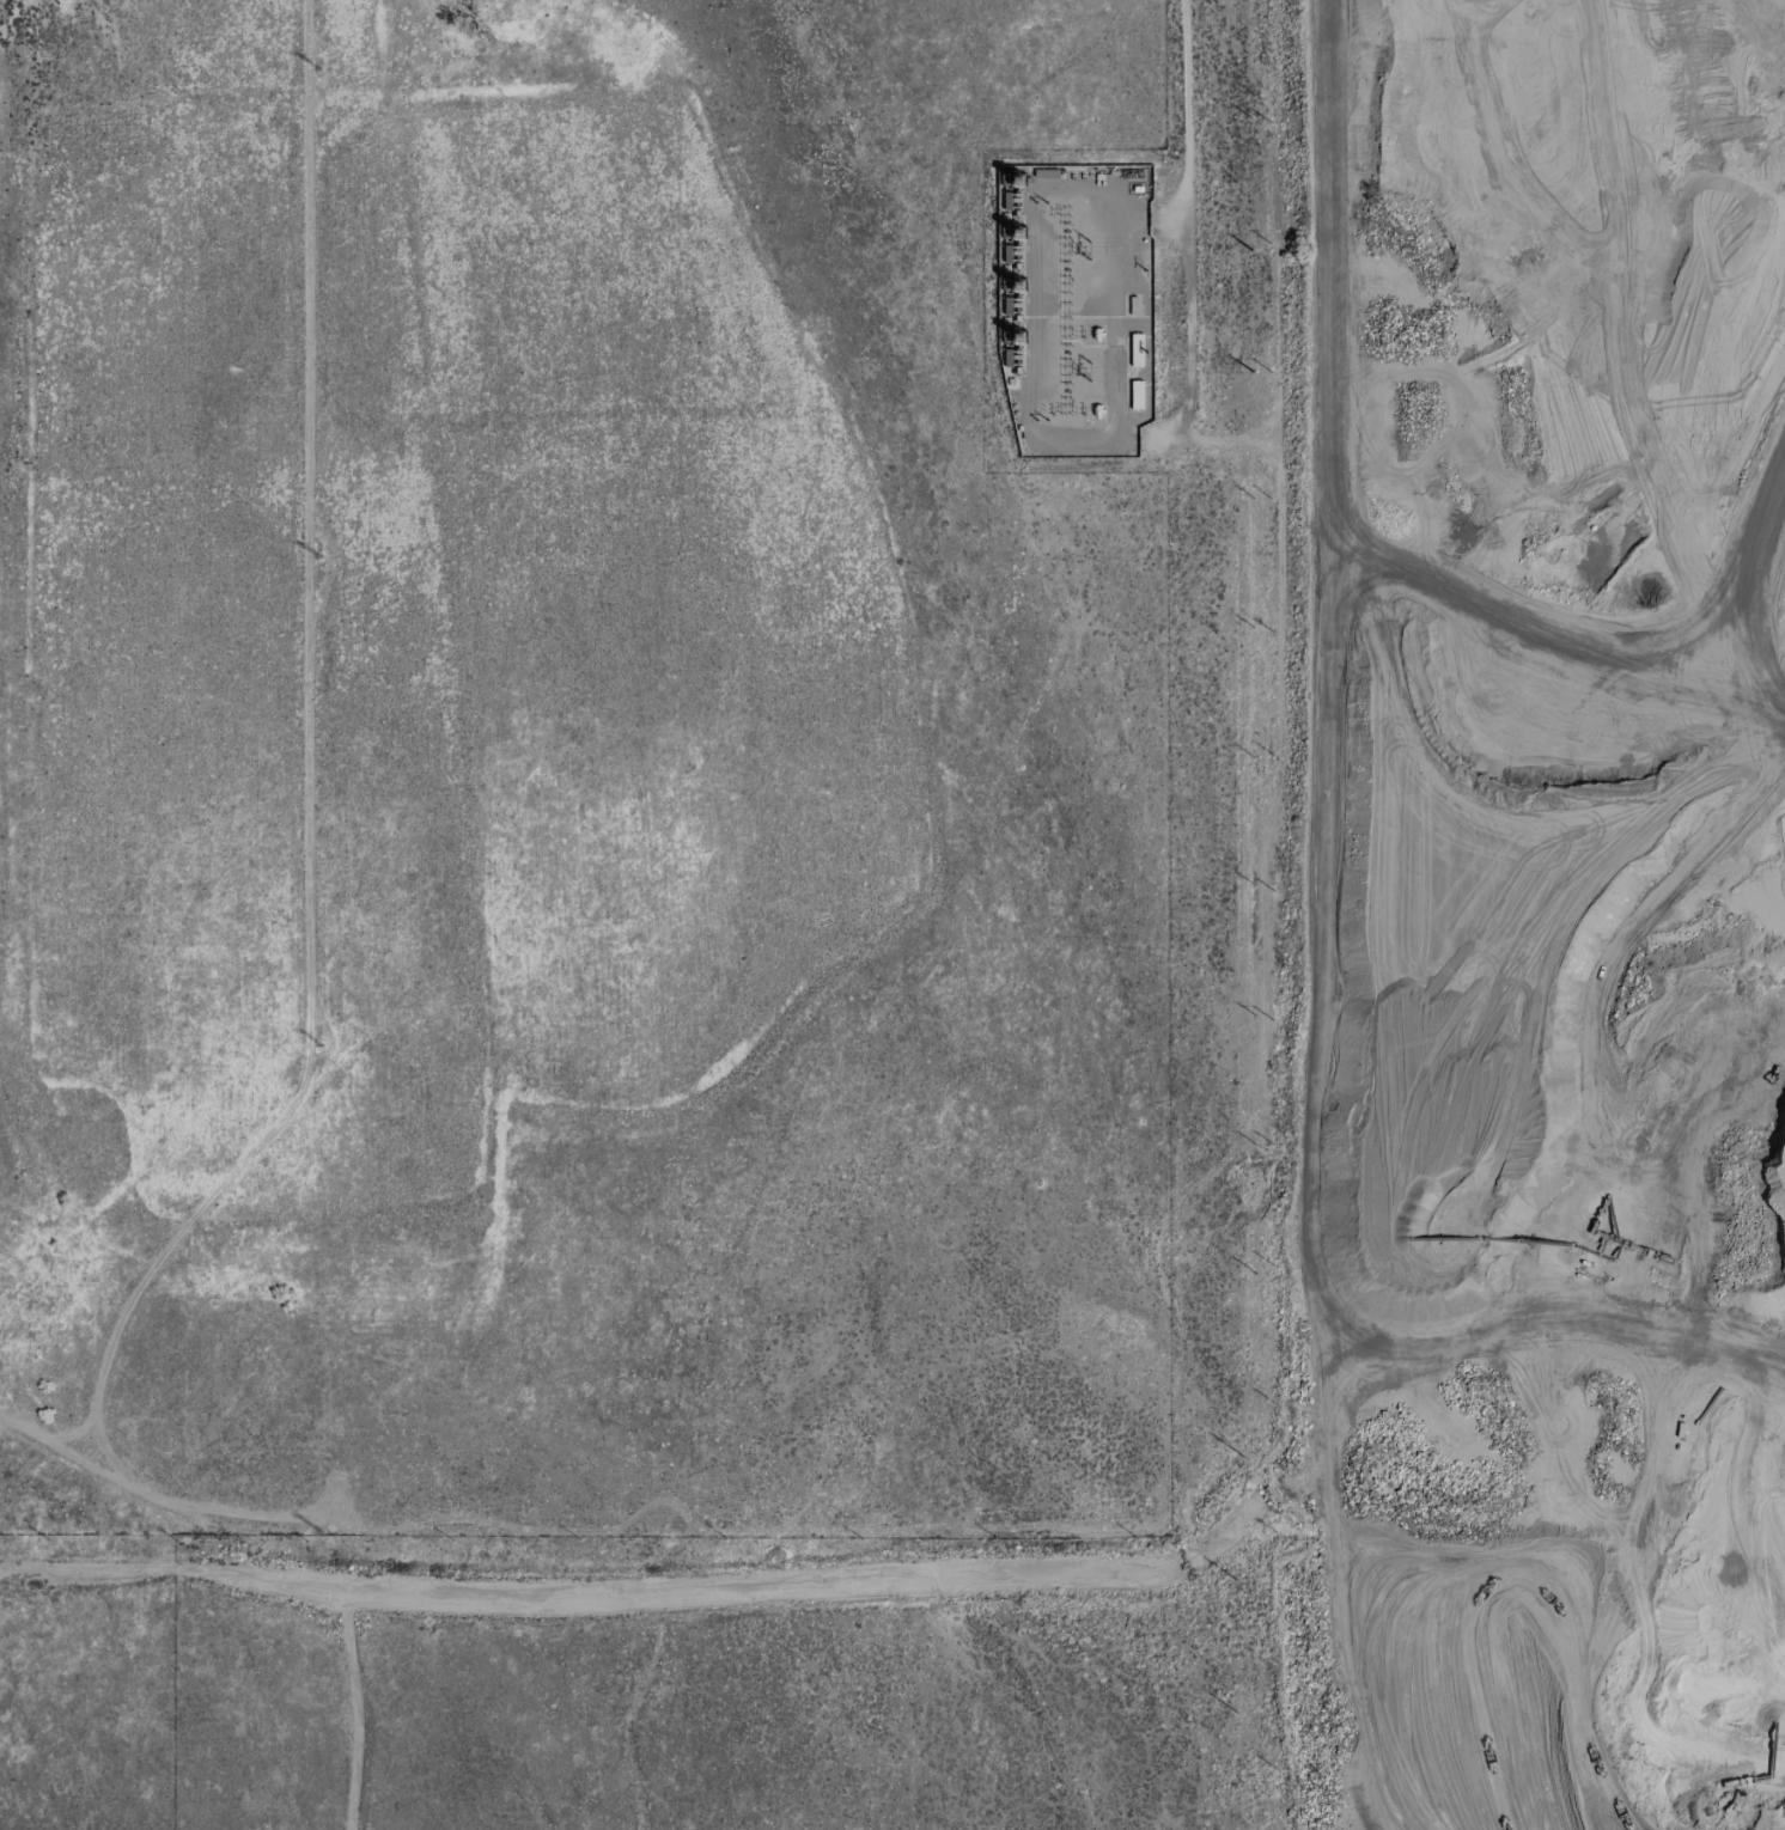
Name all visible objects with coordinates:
road: (1188, 209)
power plant: (1011, 276)
power substation: (1076, 307)
building: (1135, 394)
quarry: (1533, 911)
road: (1460, 929)
road: (1568, 1292)

